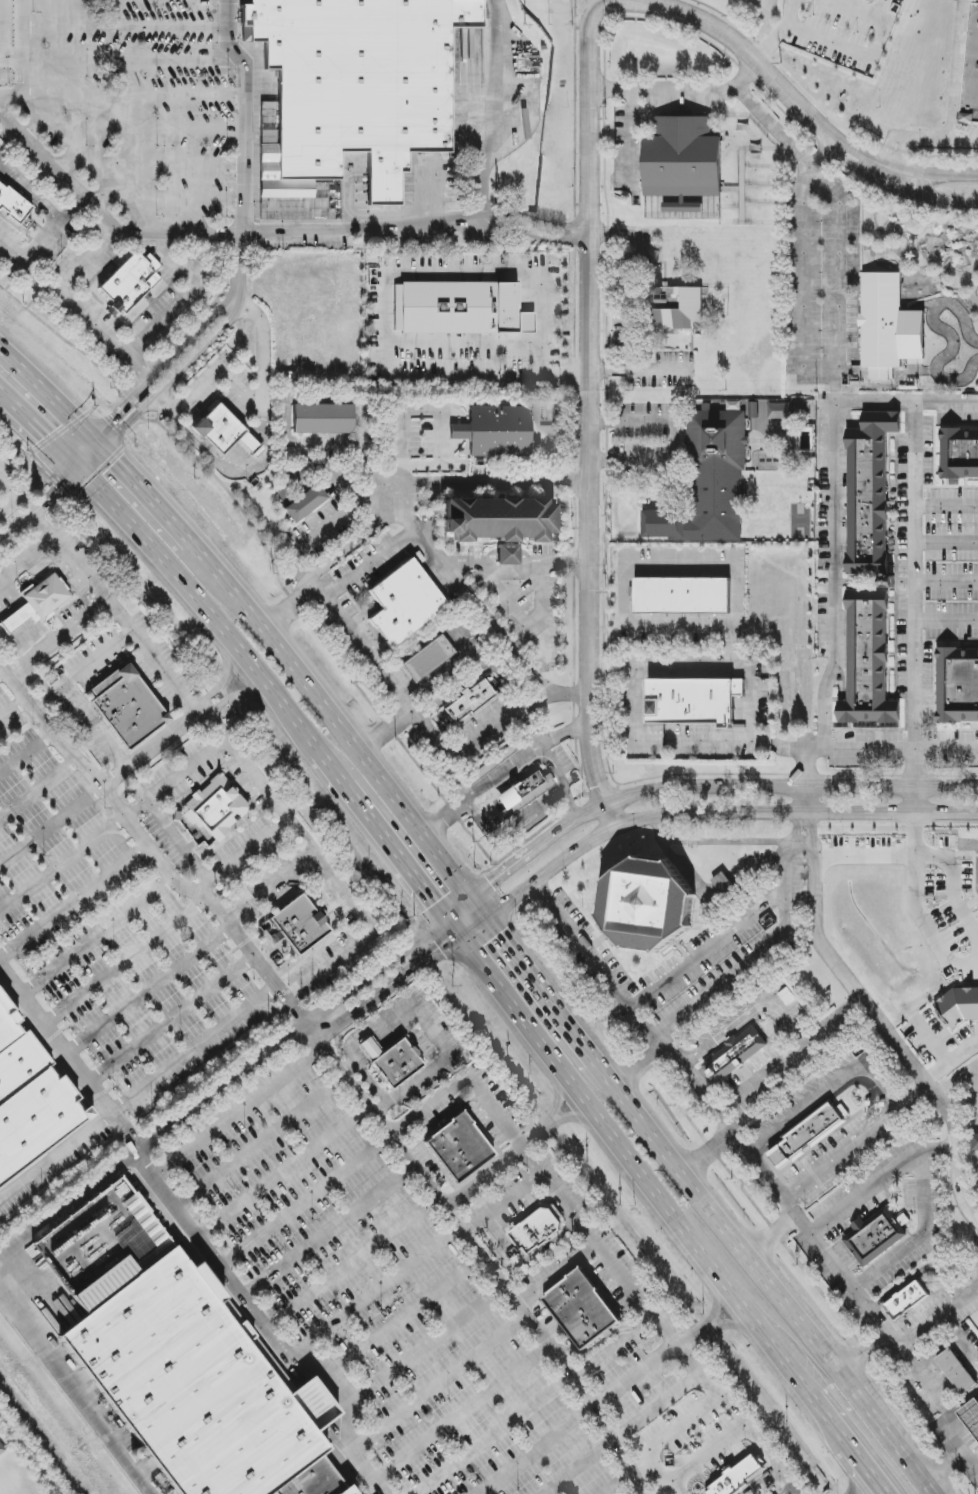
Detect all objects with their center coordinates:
road: (591, 2)
road: (854, 17)
road: (125, 28)
road: (1, 30)
road: (782, 34)
road: (23, 48)
road: (236, 49)
road: (849, 55)
road: (12, 60)
road: (133, 61)
road: (957, 70)
building: (971, 73)
road: (665, 86)
building: (351, 95)
road: (224, 97)
road: (765, 114)
road: (133, 129)
road: (924, 139)
road: (964, 141)
road: (894, 157)
building: (682, 160)
road: (147, 163)
road: (486, 166)
road: (889, 168)
road: (57, 169)
road: (591, 194)
road: (165, 198)
road: (41, 201)
building: (12, 206)
road: (361, 229)
road: (45, 239)
road: (14, 250)
road: (84, 260)
road: (834, 263)
building: (130, 282)
road: (803, 282)
road: (34, 283)
road: (630, 288)
road: (185, 294)
road: (382, 301)
building: (460, 309)
building: (679, 309)
building: (889, 330)
road: (182, 345)
road: (637, 370)
road: (46, 396)
road: (251, 406)
road: (114, 417)
traffic signals: (115, 417)
building: (323, 419)
road: (34, 427)
road: (123, 428)
building: (224, 432)
road: (285, 432)
building: (459, 432)
building: (500, 432)
traffic signals: (43, 436)
road: (676, 439)
road: (80, 450)
building: (959, 454)
traffic signals: (115, 464)
road: (74, 465)
road: (234, 475)
road: (916, 481)
building: (708, 482)
road: (496, 485)
road: (33, 487)
road: (9, 490)
traffic signals: (58, 491)
road: (140, 492)
building: (870, 495)
building: (306, 503)
road: (947, 507)
building: (500, 523)
road: (416, 530)
road: (352, 542)
road: (947, 544)
road: (302, 549)
road: (26, 559)
road: (371, 560)
road: (647, 564)
road: (836, 569)
road: (947, 582)
road: (317, 591)
building: (683, 595)
road: (5, 604)
building: (36, 604)
building: (403, 606)
road: (203, 609)
road: (284, 610)
road: (113, 614)
road: (15, 620)
road: (27, 640)
road: (505, 642)
road: (45, 646)
road: (372, 651)
building: (428, 660)
road: (450, 664)
building: (868, 666)
road: (612, 667)
road: (80, 669)
road: (662, 672)
road: (915, 672)
building: (959, 687)
building: (693, 702)
building: (467, 704)
building: (126, 707)
road: (14, 710)
road: (331, 719)
road: (94, 726)
road: (380, 734)
road: (564, 734)
road: (56, 738)
road: (470, 738)
road: (900, 749)
building: (491, 763)
road: (127, 768)
road: (505, 772)
road: (177, 777)
road: (456, 778)
road: (562, 782)
road: (691, 786)
building: (522, 793)
road: (805, 799)
road: (915, 799)
building: (213, 808)
road: (699, 813)
road: (445, 817)
road: (796, 826)
road: (813, 827)
road: (517, 833)
road: (381, 836)
road: (179, 838)
road: (804, 840)
road: (715, 841)
road: (241, 854)
road: (864, 856)
road: (321, 862)
road: (791, 866)
traffic signals: (491, 883)
building: (723, 884)
road: (268, 885)
road: (951, 885)
road: (210, 901)
building: (649, 903)
traffic signals: (433, 904)
road: (915, 906)
road: (477, 909)
building: (299, 925)
road: (451, 928)
traffic signals: (498, 936)
road: (96, 938)
road: (710, 949)
traffic signals: (439, 952)
road: (830, 959)
road: (733, 969)
road: (373, 972)
road: (619, 988)
road: (385, 990)
road: (548, 1001)
building: (959, 1006)
road: (722, 1034)
road: (192, 1051)
building: (734, 1055)
road: (782, 1059)
road: (67, 1060)
building: (392, 1061)
road: (951, 1062)
road: (855, 1070)
road: (368, 1081)
road: (957, 1082)
road: (926, 1083)
road: (217, 1085)
road: (698, 1089)
road: (908, 1092)
road: (558, 1094)
building: (30, 1099)
road: (239, 1112)
road: (573, 1119)
road: (503, 1122)
building: (808, 1134)
building: (974, 1142)
building: (458, 1148)
road: (55, 1159)
road: (495, 1168)
road: (635, 1169)
road: (771, 1170)
road: (960, 1184)
road: (863, 1194)
road: (67, 1202)
road: (503, 1203)
road: (453, 1218)
building: (537, 1231)
building: (874, 1235)
road: (772, 1237)
road: (919, 1238)
road: (824, 1253)
road: (606, 1260)
road: (351, 1261)
road: (919, 1272)
road: (772, 1288)
building: (906, 1299)
building: (581, 1309)
road: (869, 1312)
road: (938, 1317)
road: (267, 1326)
road: (430, 1348)
road: (863, 1354)
building: (957, 1372)
building: (197, 1379)
road: (443, 1382)
road: (76, 1391)
road: (608, 1398)
road: (462, 1408)
road: (943, 1413)
building: (971, 1417)
road: (737, 1422)
road: (829, 1423)
road: (662, 1438)
road: (622, 1450)
road: (972, 1452)
road: (644, 1468)
road: (864, 1470)
building: (739, 1477)
road: (620, 1483)
road: (763, 1484)
building: (353, 1489)
road: (869, 1489)

